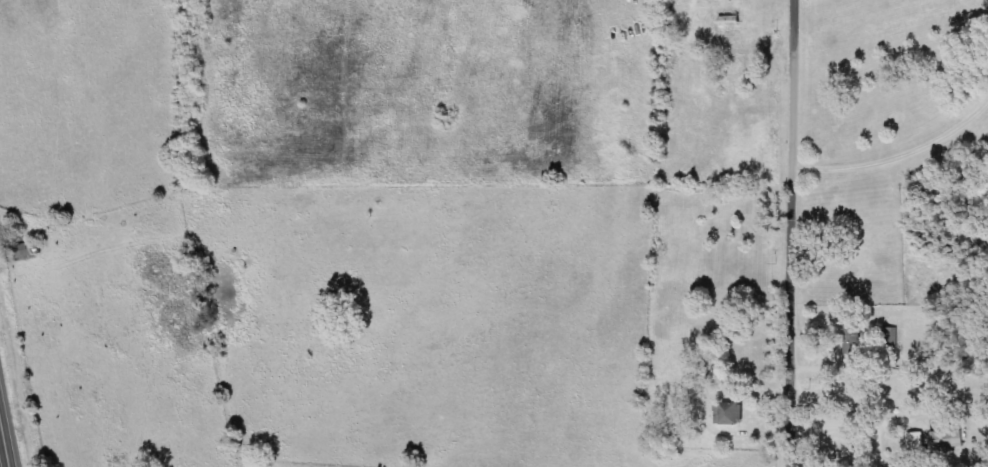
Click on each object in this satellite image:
road: (798, 233)
building: (891, 336)
building: (855, 341)
building: (731, 413)
road: (6, 434)
building: (952, 434)

